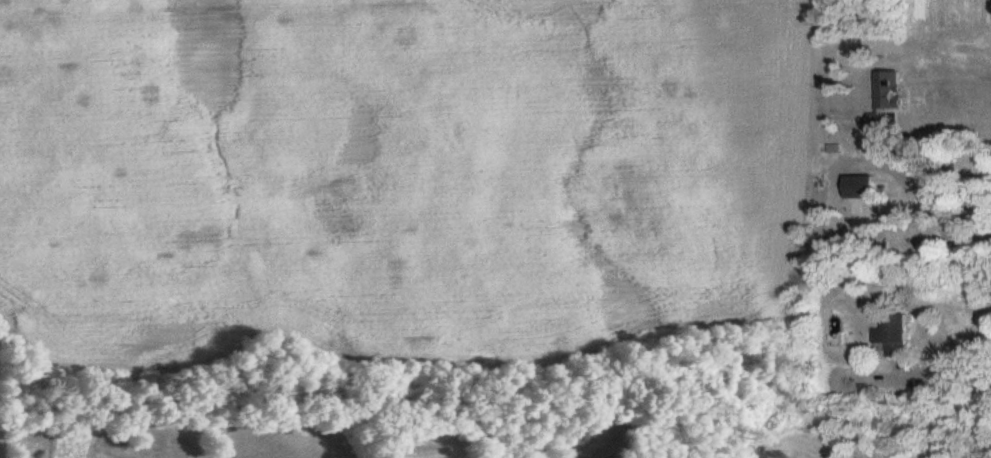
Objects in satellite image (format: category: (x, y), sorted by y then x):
building: (895, 337)
road: (950, 380)

